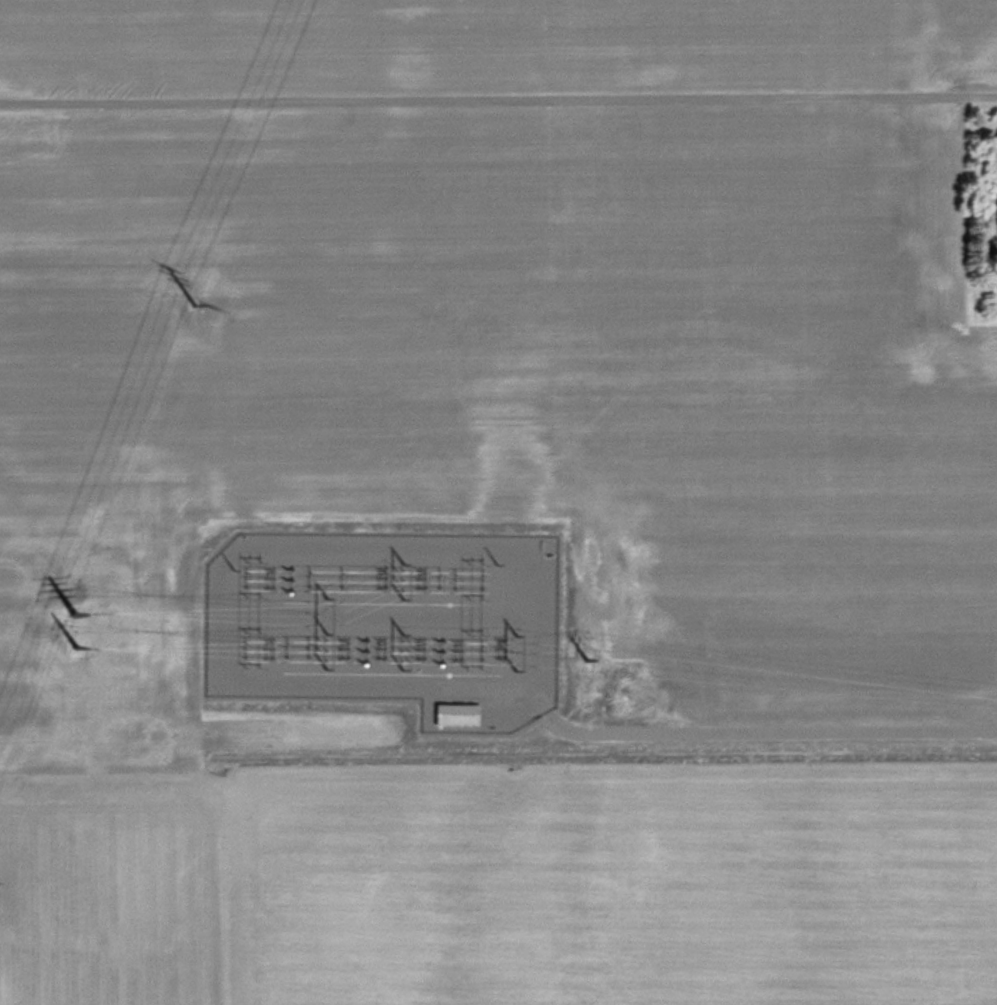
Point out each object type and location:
road: (498, 94)
power tower: (198, 298)
power tower: (78, 605)
power substation: (390, 617)
power tower: (84, 651)
power tower: (589, 652)
building: (458, 712)
road: (766, 728)

